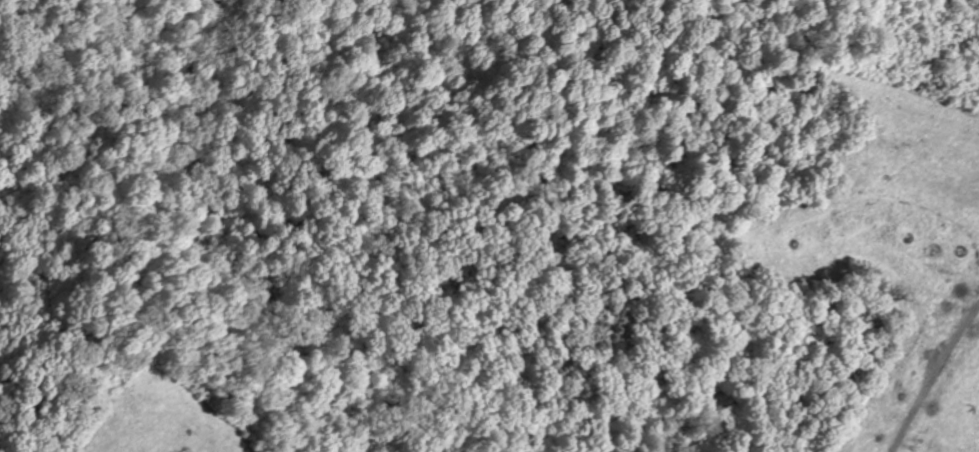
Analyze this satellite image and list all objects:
road: (945, 394)

